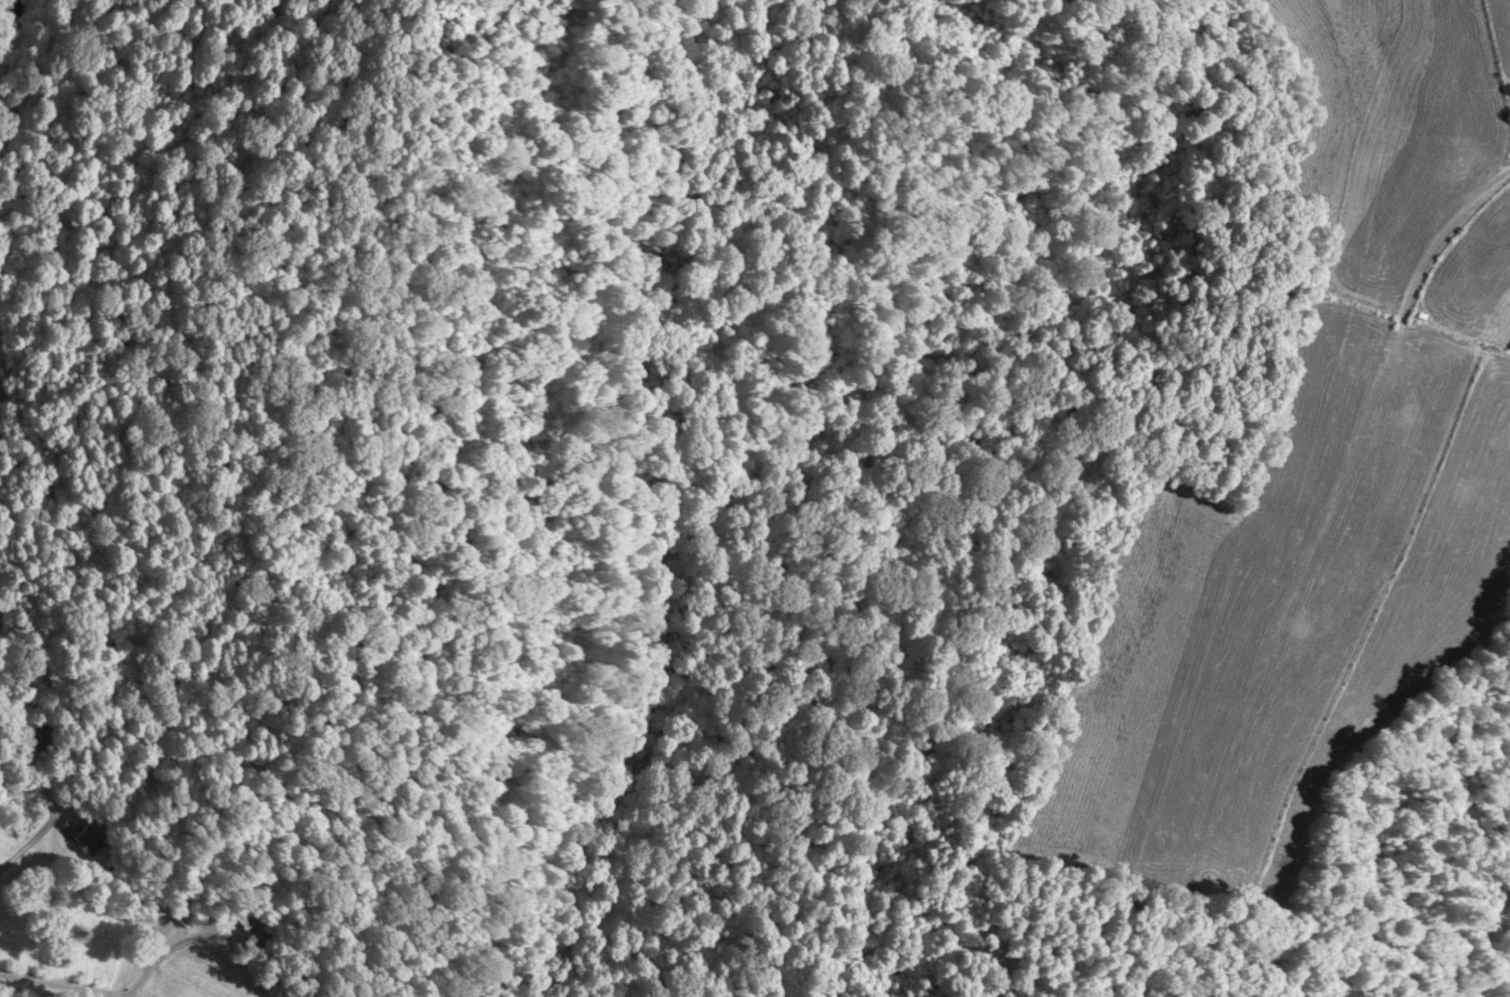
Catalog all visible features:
building: (86, 840)
building: (250, 930)
road: (62, 982)

